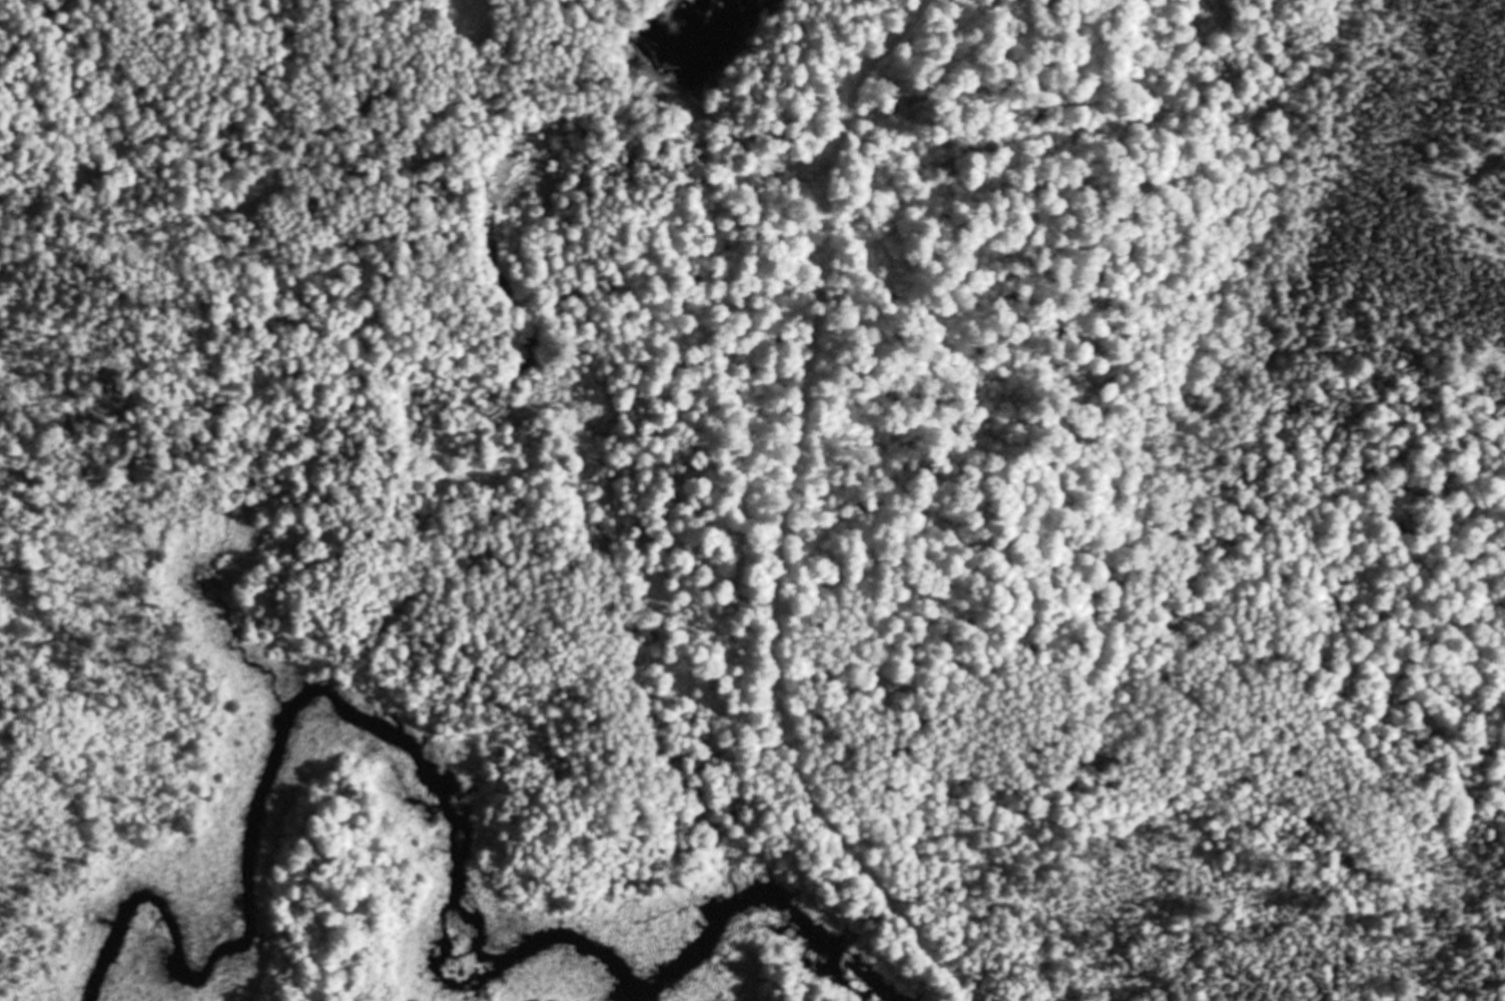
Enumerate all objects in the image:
road: (34, 33)
river: (548, 941)
river: (218, 951)

